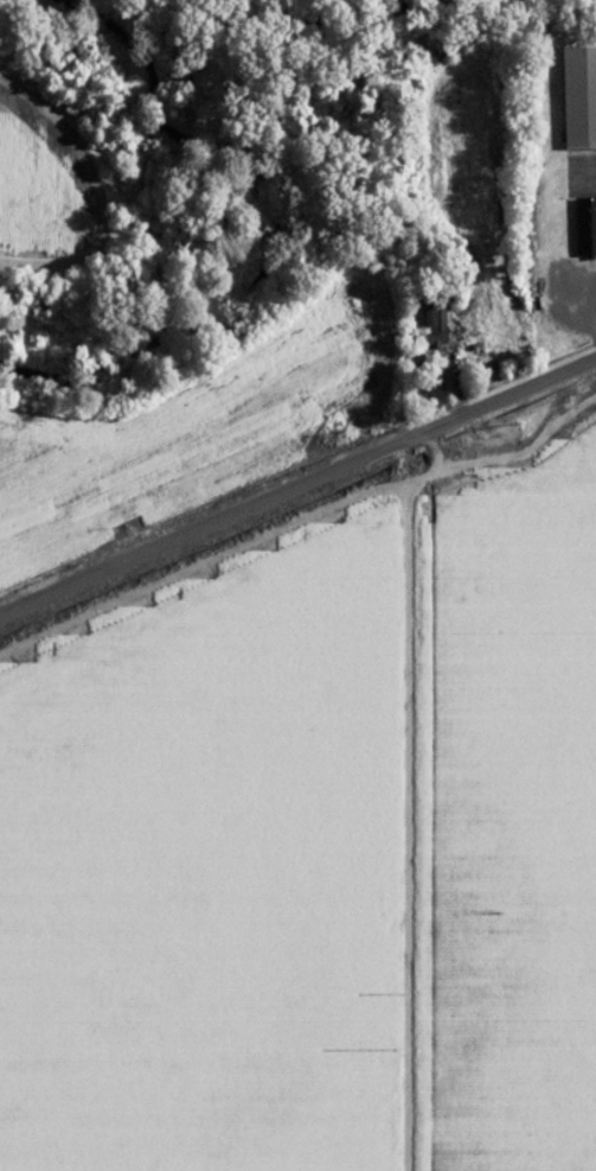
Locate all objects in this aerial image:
building: (578, 101)
building: (585, 228)
building: (432, 323)
road: (297, 486)
road: (404, 806)

